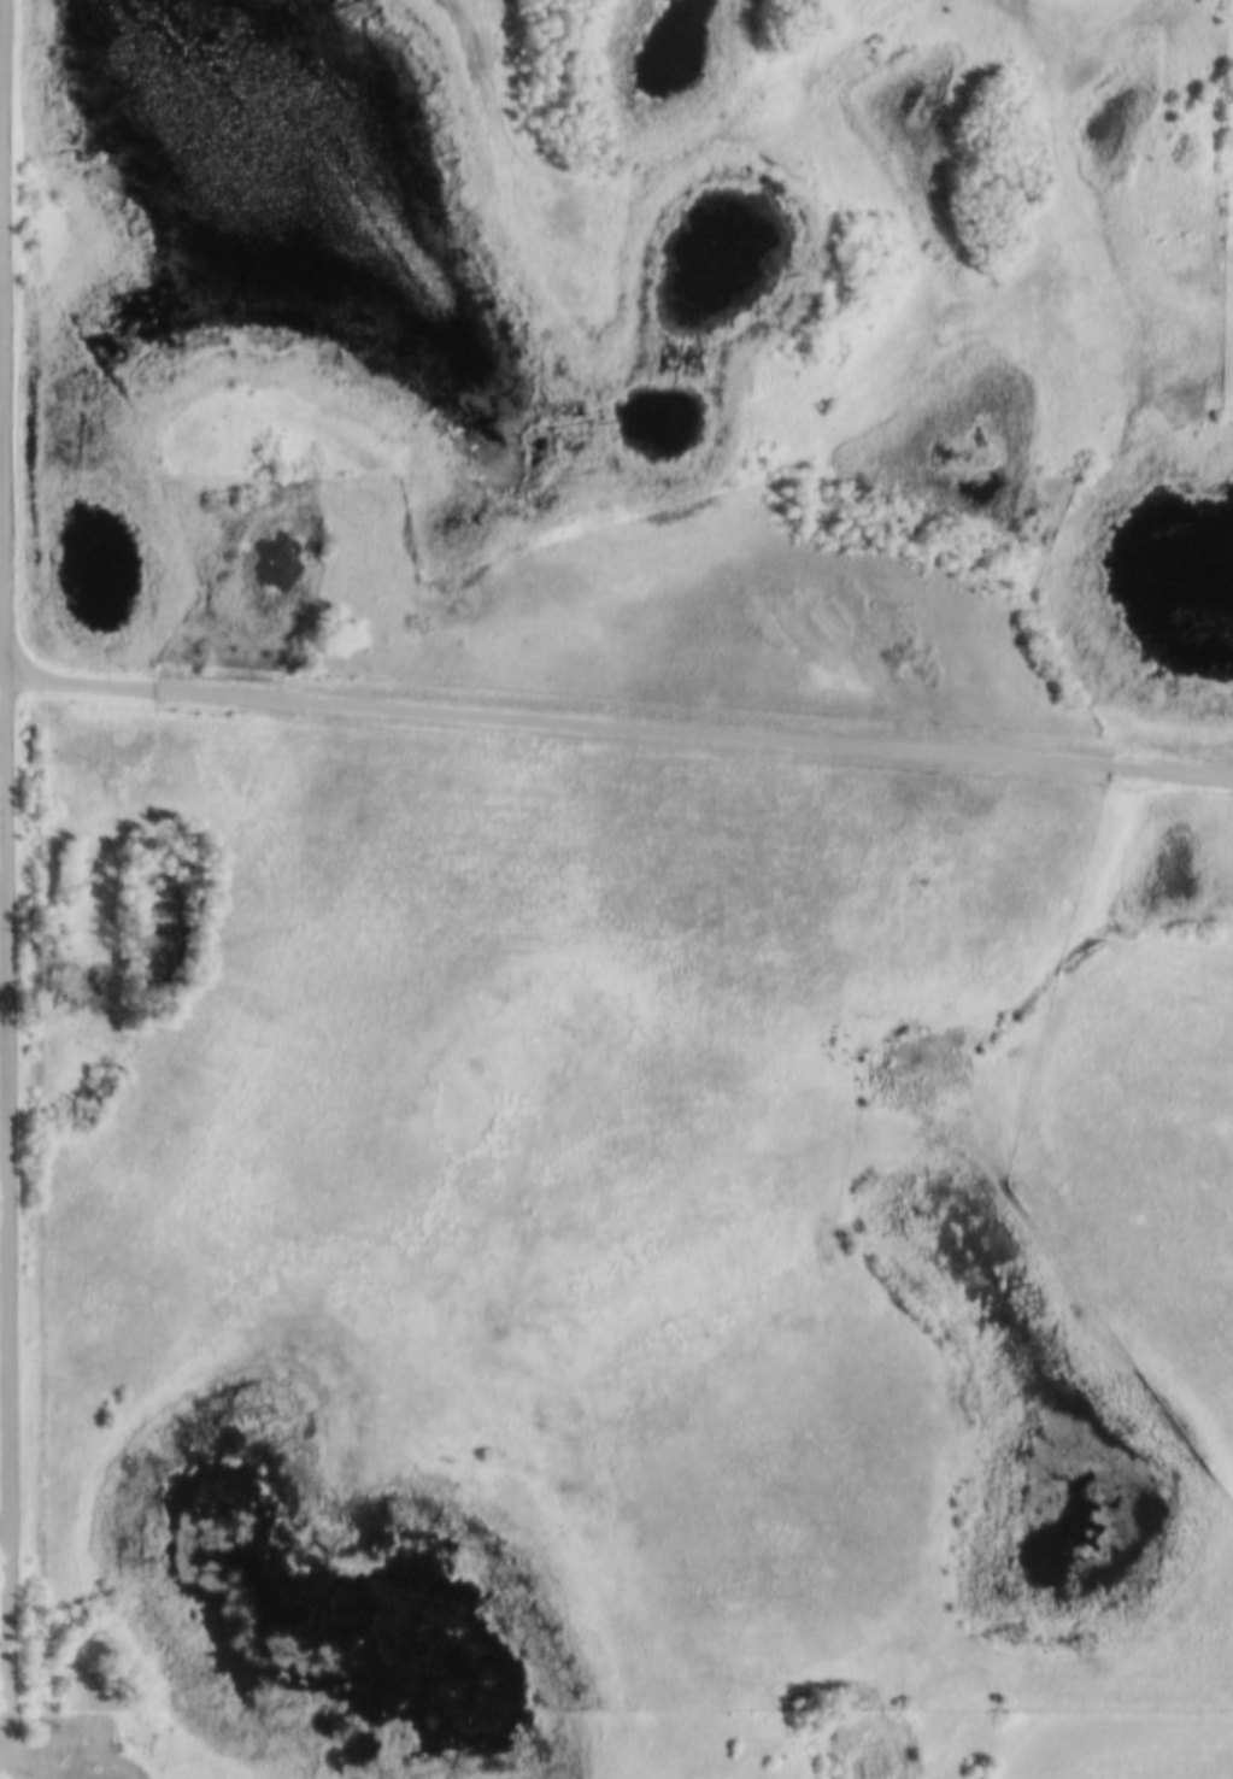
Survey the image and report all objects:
road: (618, 726)
road: (4, 869)
road: (7, 888)
road: (4, 992)
building: (61, 1752)

